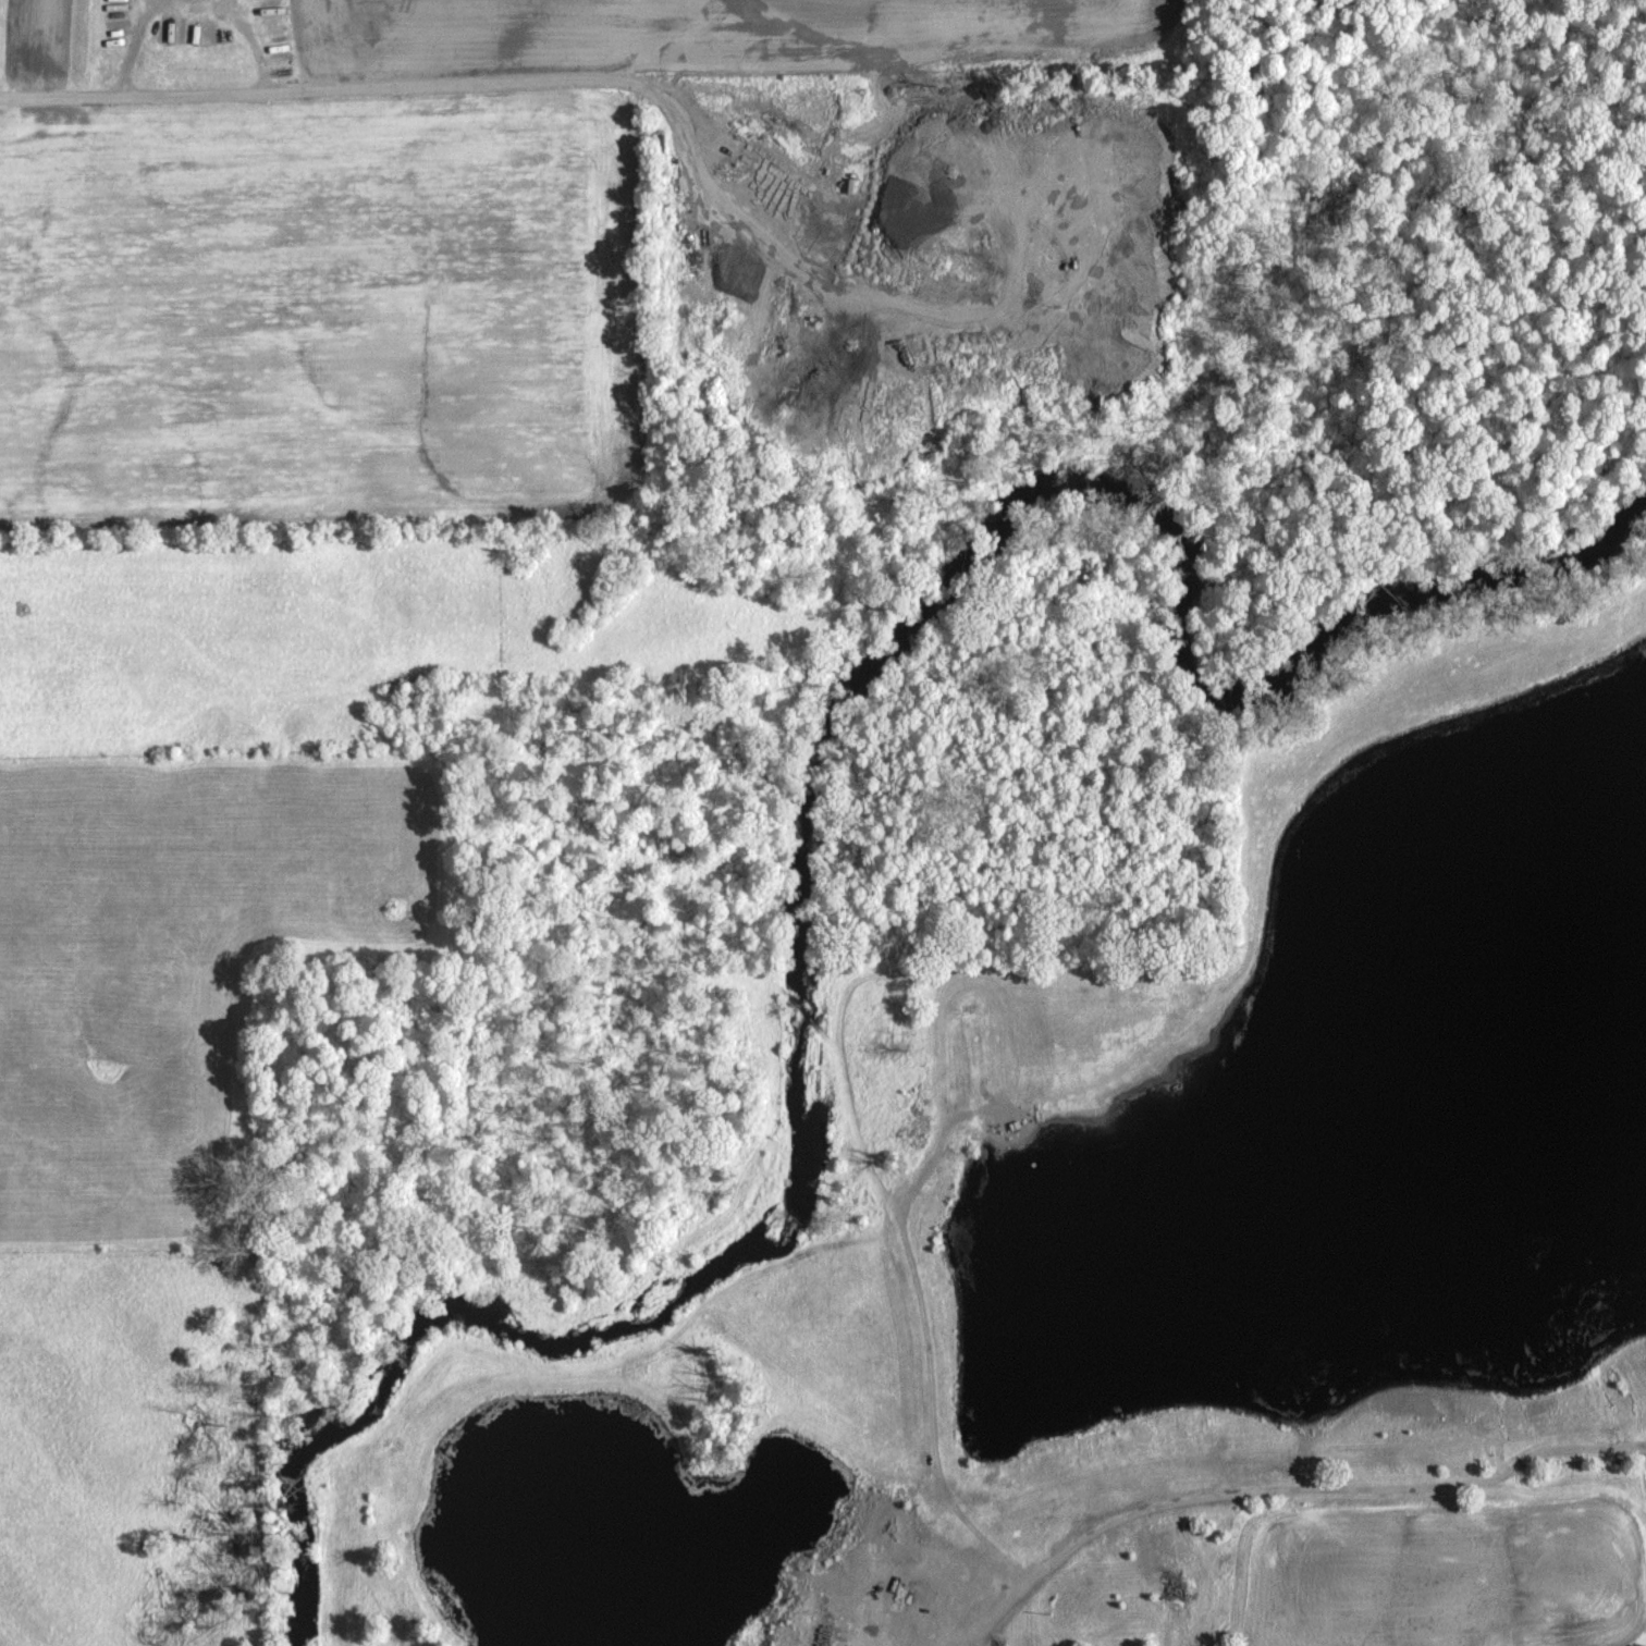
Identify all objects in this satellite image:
road: (414, 87)
road: (1274, 1488)

